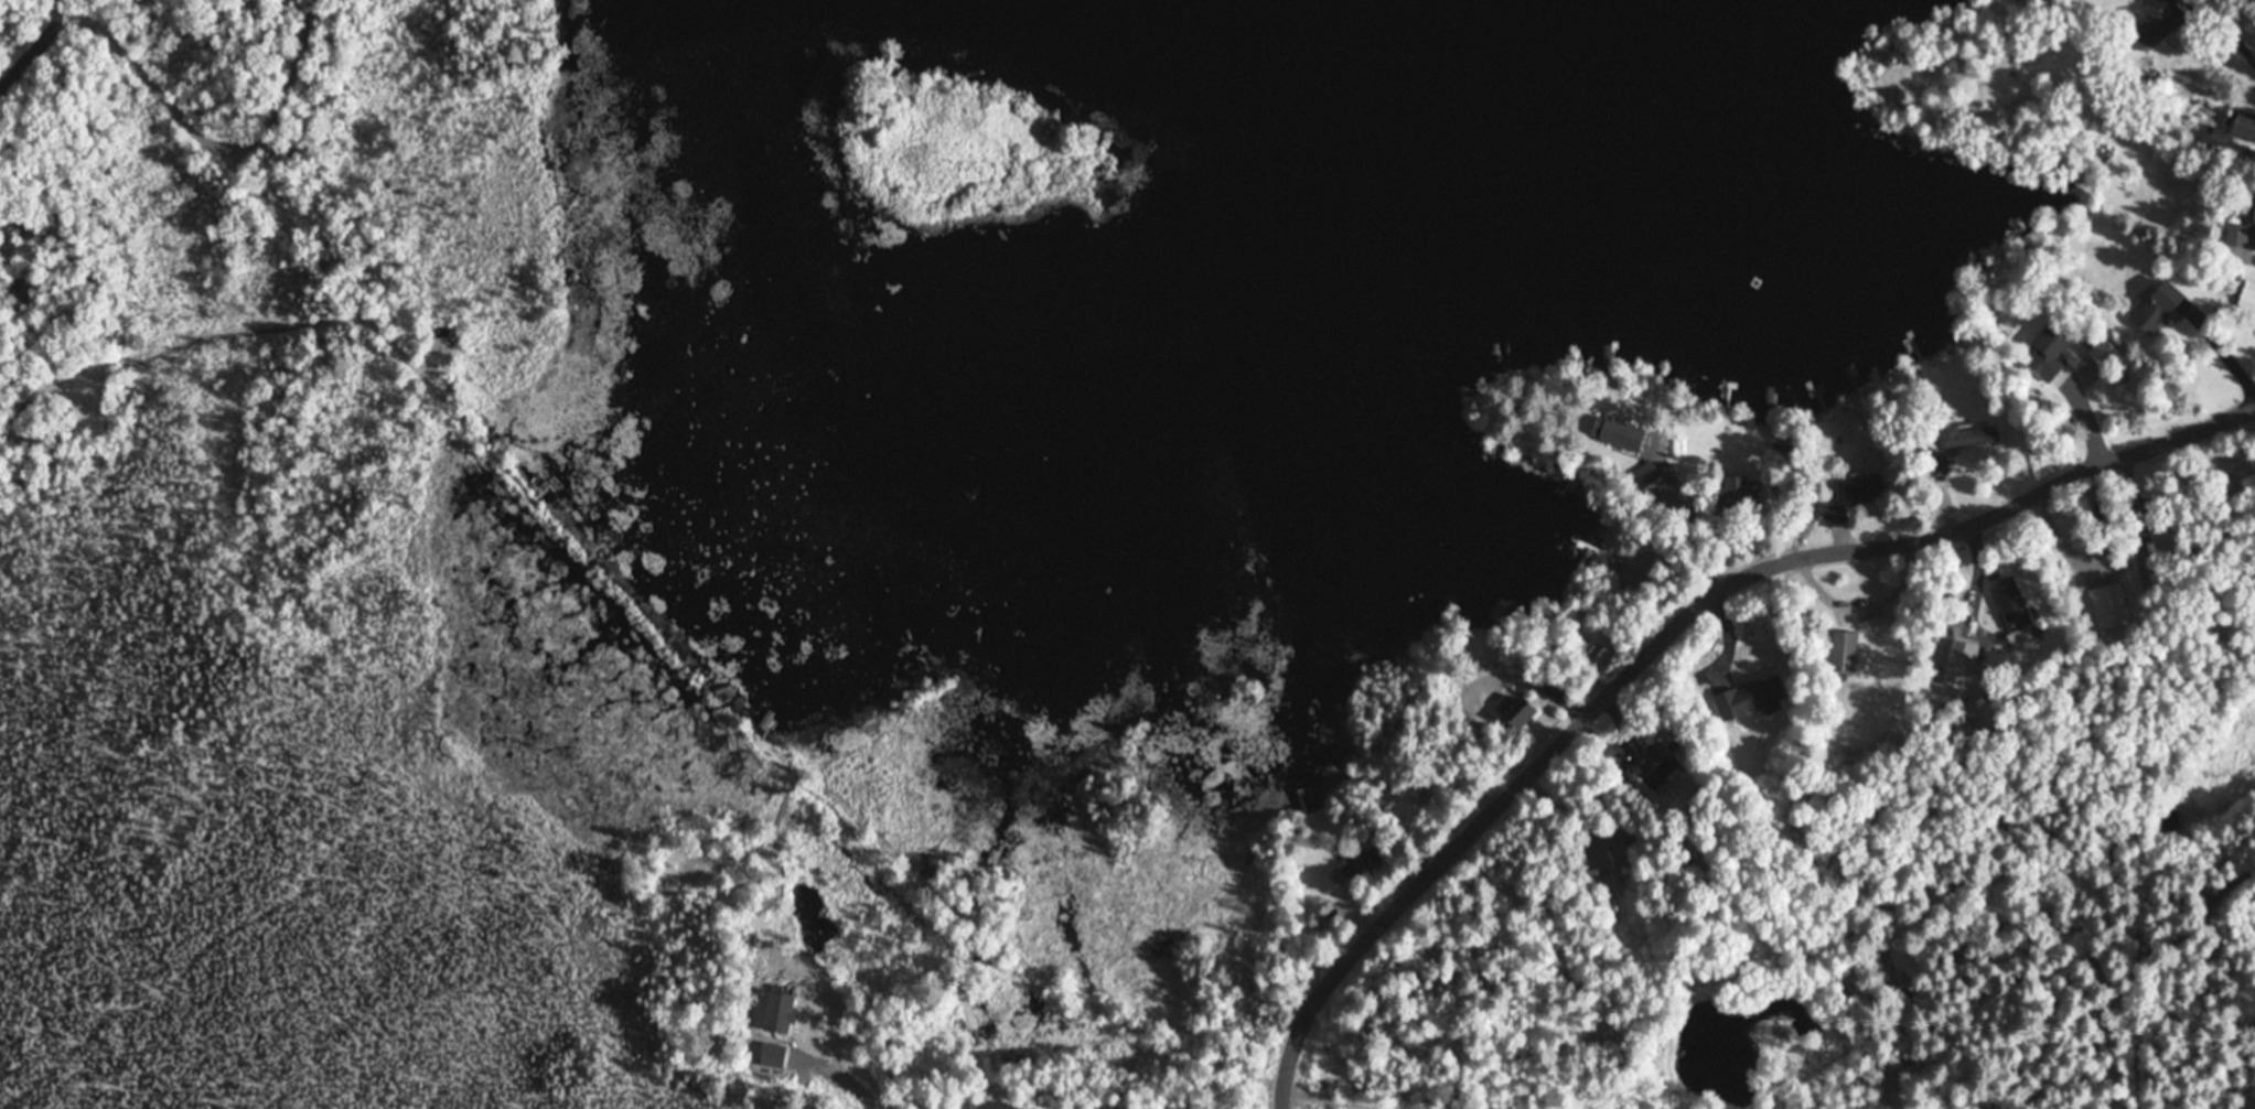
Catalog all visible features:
building: (2154, 30)
building: (2215, 137)
building: (2242, 235)
building: (2247, 300)
building: (2158, 306)
building: (2048, 352)
building: (1631, 438)
building: (1958, 443)
building: (1865, 489)
building: (1739, 492)
building: (1835, 514)
building: (2148, 569)
building: (2011, 604)
road: (1671, 618)
building: (1606, 650)
building: (1843, 652)
building: (1959, 665)
building: (1749, 699)
building: (1516, 711)
building: (1655, 766)
building: (1427, 795)
building: (1622, 849)
building: (1363, 861)

